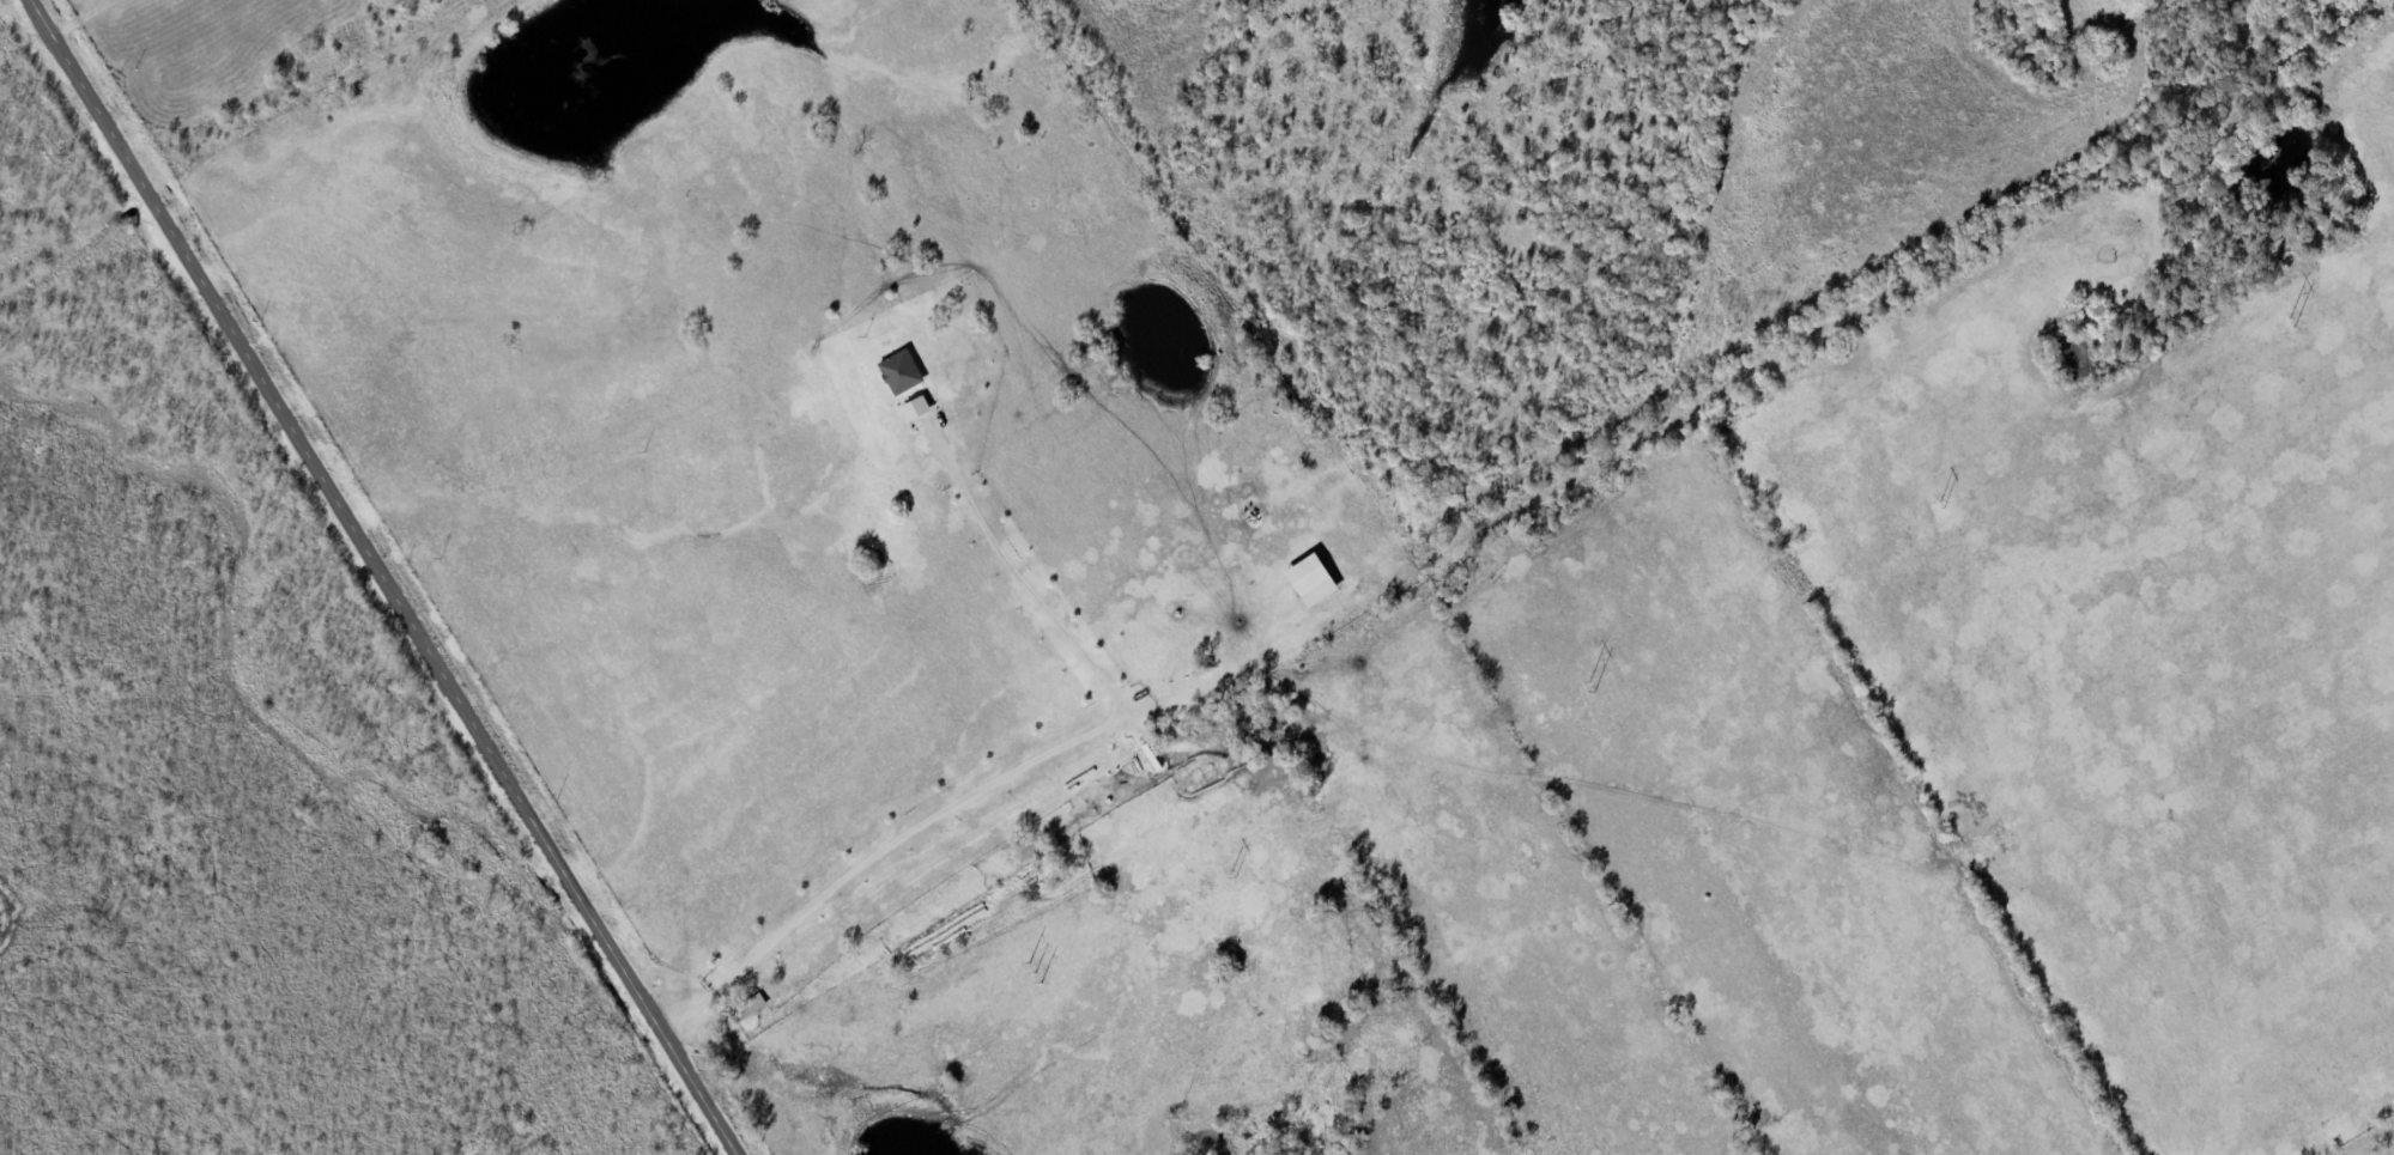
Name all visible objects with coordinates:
road: (46, 7)
power tower: (2293, 321)
building: (901, 373)
building: (915, 409)
power tower: (1941, 501)
road: (382, 576)
building: (1309, 582)
power tower: (1593, 686)
power tower: (1234, 874)
power tower: (1040, 971)
building: (747, 1009)

